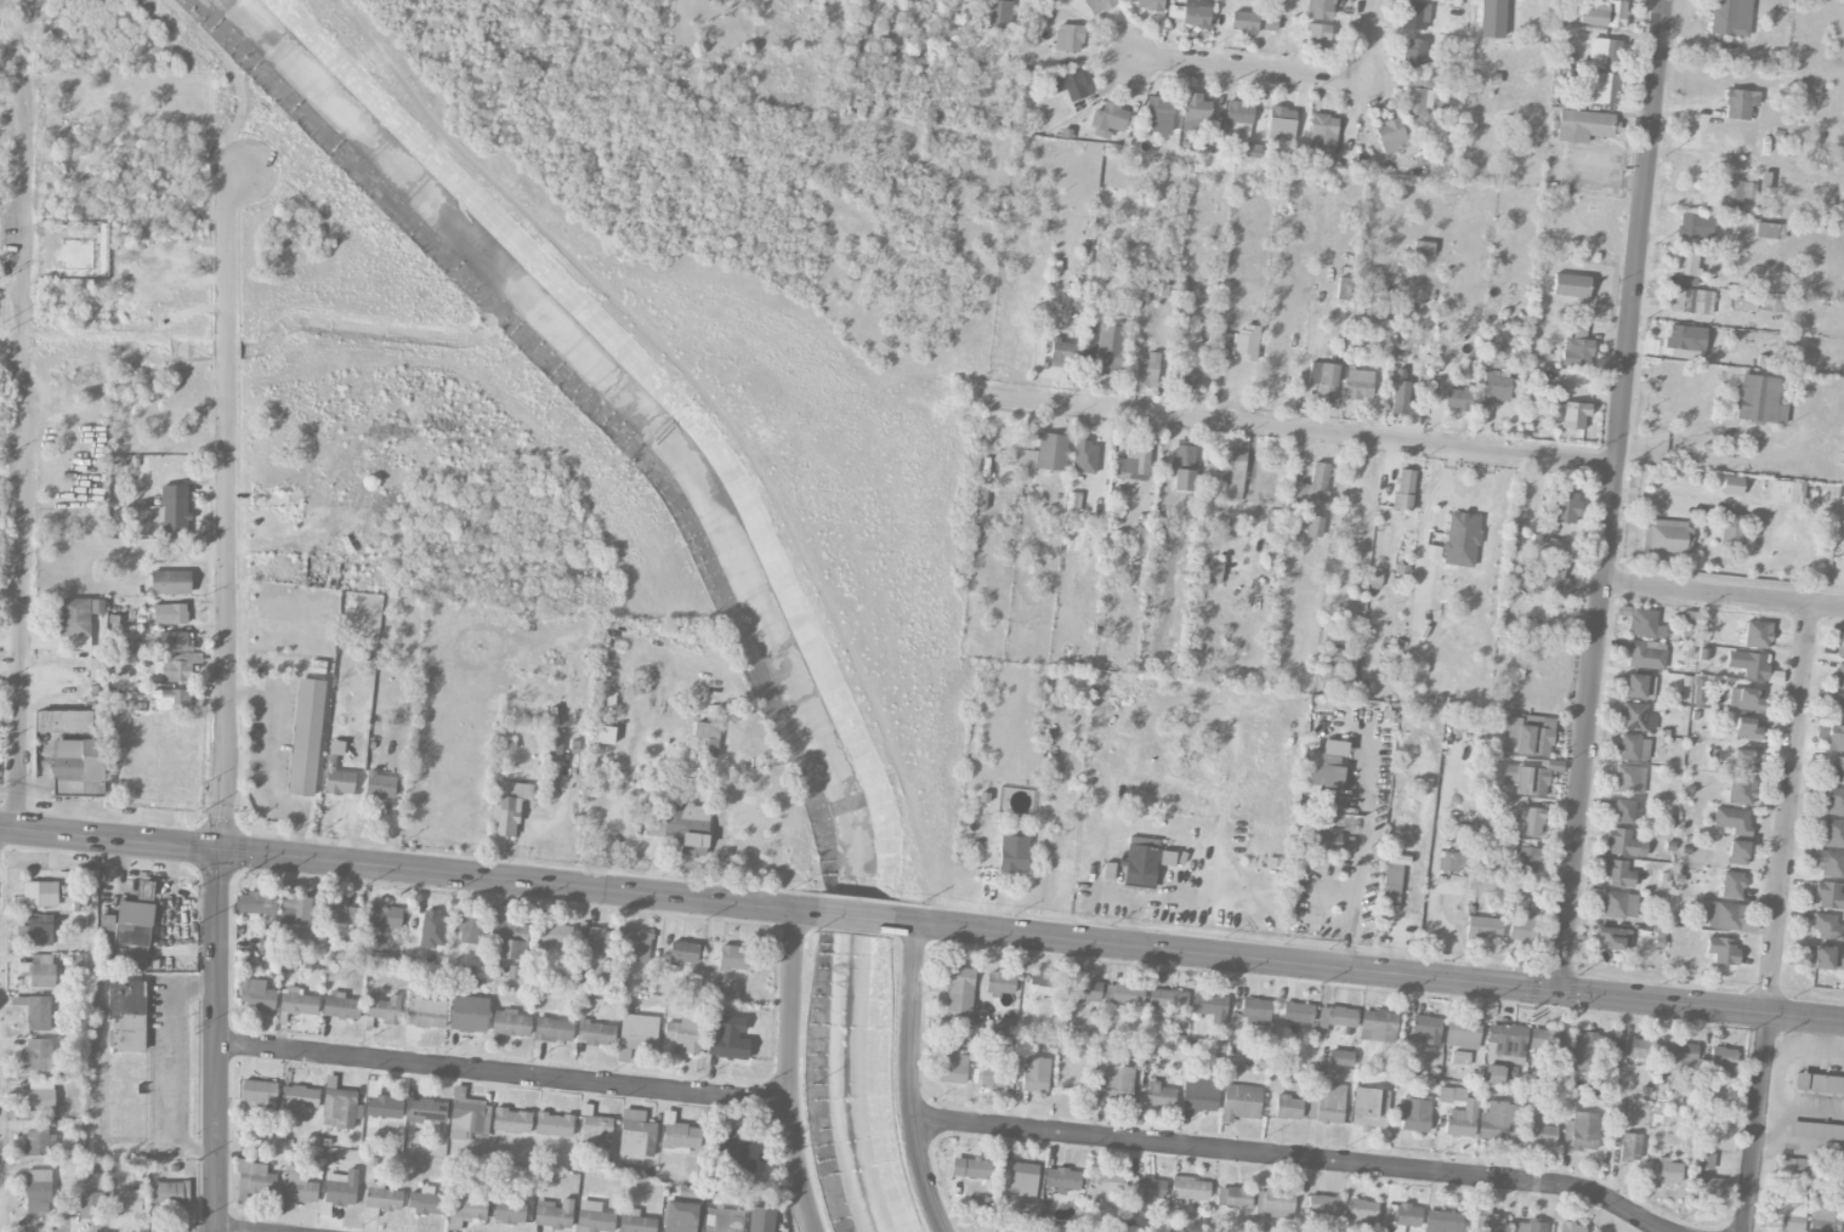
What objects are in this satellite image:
building: (1148, 5)
building: (1097, 6)
building: (1320, 10)
building: (1190, 13)
building: (998, 15)
building: (1600, 15)
building: (1414, 16)
building: (1730, 17)
building: (1491, 18)
building: (1243, 22)
building: (1317, 36)
building: (1067, 38)
road: (1369, 42)
building: (1413, 52)
building: (1604, 53)
road: (1249, 72)
building: (1071, 86)
building: (1600, 89)
building: (1418, 97)
building: (1738, 104)
building: (1196, 112)
building: (1158, 115)
building: (1108, 119)
building: (1238, 120)
building: (1280, 124)
building: (1582, 126)
building: (1322, 134)
building: (1390, 136)
building: (1734, 194)
building: (1695, 226)
building: (1769, 232)
building: (1686, 268)
building: (1570, 286)
building: (1691, 301)
building: (1774, 305)
building: (1685, 339)
building: (1239, 345)
building: (1576, 350)
building: (1107, 351)
building: (1062, 353)
building: (1146, 370)
building: (1186, 379)
building: (1323, 381)
building: (1358, 385)
building: (1496, 386)
building: (1400, 390)
building: (1458, 399)
building: (1759, 401)
building: (1573, 415)
road: (1299, 432)
road: (1686, 433)
road: (22, 442)
building: (1051, 452)
power tower: (1842, 452)
building: (1134, 460)
building: (1182, 466)
building: (1231, 476)
building: (1312, 484)
building: (1731, 486)
building: (1403, 489)
building: (1786, 492)
road: (1612, 495)
road: (226, 503)
building: (1566, 507)
building: (171, 511)
building: (1275, 522)
building: (1225, 526)
building: (1314, 526)
building: (1731, 530)
building: (1514, 534)
building: (1666, 536)
building: (1460, 540)
building: (1208, 572)
building: (1550, 575)
building: (170, 583)
road: (1723, 596)
building: (169, 614)
building: (76, 623)
building: (1645, 624)
building: (1689, 624)
building: (1757, 635)
building: (175, 641)
building: (1840, 646)
building: (1645, 654)
building: (1752, 666)
building: (172, 668)
building: (1339, 668)
building: (1839, 677)
building: (1639, 687)
building: (1697, 692)
building: (1746, 697)
building: (170, 700)
building: (1836, 708)
power tower: (1814, 716)
building: (1635, 717)
building: (63, 721)
building: (1746, 728)
building: (1528, 734)
building: (602, 736)
building: (708, 737)
building: (305, 738)
building: (1834, 738)
building: (554, 749)
building: (1633, 749)
road: (268, 761)
building: (1744, 761)
building: (76, 767)
building: (1323, 767)
building: (1836, 770)
building: (1628, 779)
building: (1526, 780)
building: (339, 782)
building: (379, 787)
building: (1741, 791)
building: (1833, 801)
building: (509, 807)
road: (1788, 808)
building: (1622, 812)
building: (685, 818)
building: (1732, 819)
building: (1527, 822)
building: (1833, 834)
road: (108, 838)
building: (1327, 844)
building: (1622, 844)
building: (693, 846)
traffic signals: (217, 848)
building: (1012, 853)
building: (1736, 853)
building: (1140, 862)
building: (1453, 863)
building: (1831, 864)
building: (1525, 865)
building: (1617, 874)
building: (1392, 878)
road: (516, 880)
building: (1481, 884)
building: (1731, 885)
building: (144, 891)
building: (40, 893)
road: (1355, 893)
building: (1829, 897)
building: (255, 904)
building: (1618, 904)
building: (295, 910)
building: (340, 914)
road: (855, 915)
building: (1725, 916)
building: (384, 918)
building: (132, 927)
building: (466, 927)
building: (1521, 927)
building: (1482, 929)
building: (1827, 929)
building: (34, 935)
building: (555, 935)
building: (598, 939)
building: (1613, 939)
building: (510, 941)
building: (639, 947)
building: (1721, 950)
building: (682, 954)
building: (732, 958)
building: (1823, 959)
power tower: (1787, 961)
road: (1368, 970)
building: (41, 971)
building: (999, 984)
building: (1042, 986)
building: (958, 990)
traffic signals: (1558, 990)
building: (1084, 992)
building: (1123, 994)
building: (255, 997)
building: (1167, 1000)
building: (296, 1003)
building: (1208, 1004)
building: (340, 1006)
building: (1255, 1011)
building: (425, 1012)
building: (1297, 1012)
building: (38, 1014)
building: (467, 1014)
building: (124, 1016)
building: (1339, 1017)
building: (509, 1023)
building: (1377, 1027)
building: (1424, 1029)
building: (552, 1031)
building: (595, 1034)
building: (636, 1034)
building: (1462, 1034)
building: (681, 1037)
road: (215, 1039)
building: (727, 1040)
building: (1547, 1040)
building: (1507, 1043)
building: (1636, 1049)
building: (1587, 1050)
building: (35, 1056)
building: (1339, 1058)
building: (1459, 1058)
building: (1721, 1062)
building: (951, 1066)
road: (175, 1068)
road: (790, 1072)
road: (503, 1074)
building: (1032, 1074)
building: (1492, 1074)
building: (992, 1077)
road: (908, 1079)
building: (1113, 1084)
building: (1819, 1084)
building: (1198, 1095)
building: (40, 1096)
building: (1158, 1096)
building: (299, 1097)
building: (1239, 1103)
building: (1326, 1103)
building: (382, 1107)
building: (1288, 1108)
building: (340, 1109)
building: (1369, 1109)
building: (425, 1112)
building: (1413, 1113)
building: (1458, 1113)
building: (511, 1122)
road: (1755, 1122)
building: (1497, 1123)
building: (552, 1125)
building: (1538, 1131)
building: (1816, 1131)
building: (1581, 1132)
building: (635, 1135)
building: (679, 1136)
building: (40, 1143)
building: (1629, 1147)
building: (736, 1149)
road: (1290, 1158)
building: (1703, 1162)
building: (970, 1169)
building: (1659, 1175)
building: (253, 1180)
building: (1019, 1180)
building: (1062, 1180)
building: (296, 1186)
building: (1707, 1187)
building: (1103, 1188)
building: (340, 1190)
building: (1144, 1191)
building: (1188, 1191)
building: (36, 1192)
building: (169, 1193)
building: (1237, 1198)
building: (380, 1199)
building: (127, 1202)
building: (425, 1203)
building: (1272, 1204)
building: (90, 1205)
building: (1321, 1205)
building: (465, 1207)
building: (509, 1211)
building: (1361, 1214)
building: (552, 1215)
building: (1788, 1215)
building: (591, 1217)
building: (679, 1217)
building: (1400, 1217)
building: (1486, 1219)
building: (722, 1220)
building: (1821, 1220)
building: (1441, 1221)
building: (635, 1222)
building: (1530, 1226)
power tower: (1760, 1226)
building: (1843, 1226)
building: (1570, 1227)

